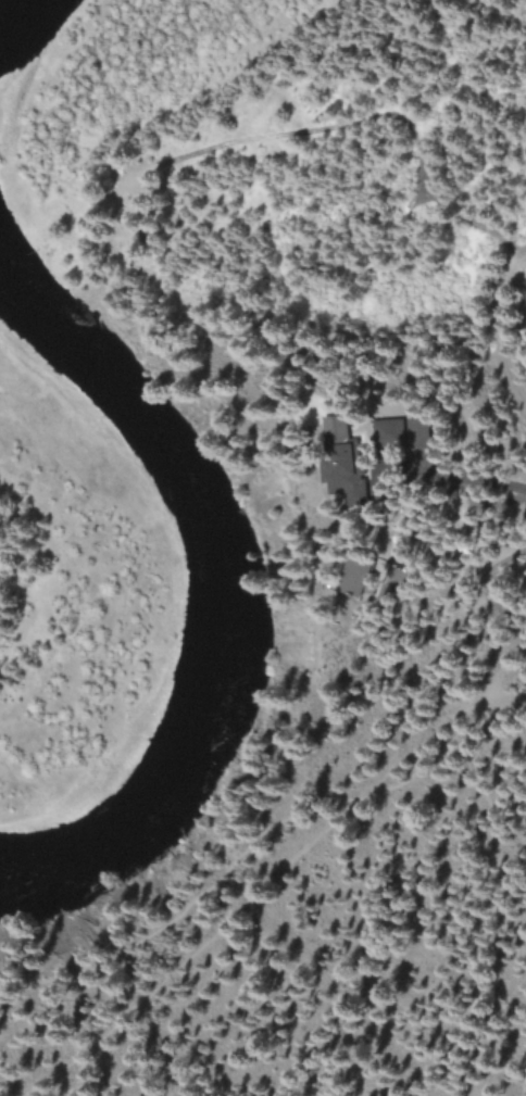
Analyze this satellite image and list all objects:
river: (3, 3)
road: (504, 331)
river: (224, 592)
road: (512, 697)
road: (209, 890)
road: (258, 893)

